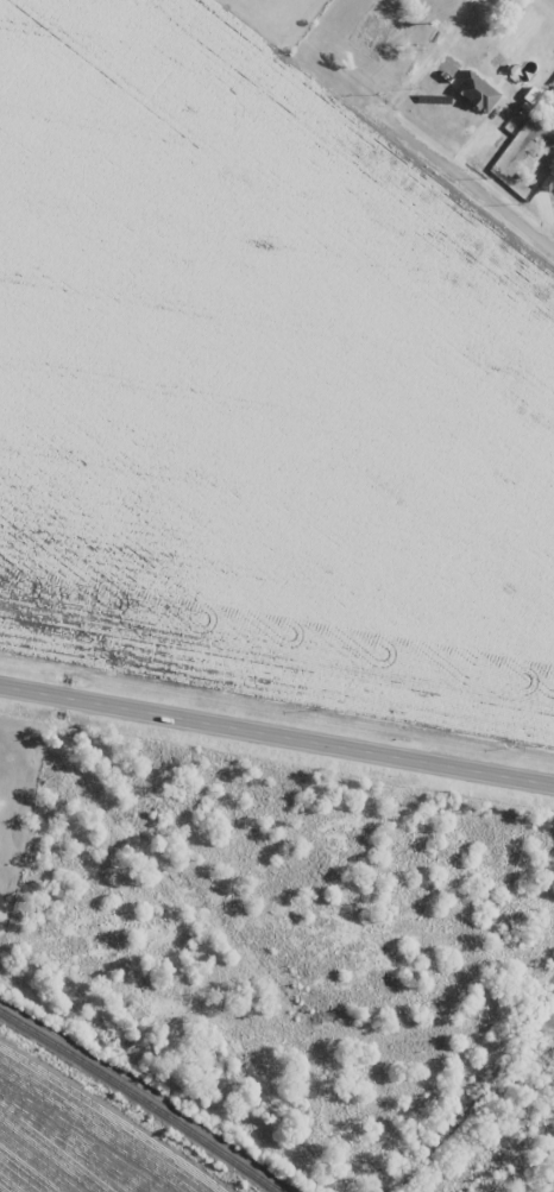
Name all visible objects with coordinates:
building: (391, 37)
building: (476, 92)
road: (414, 141)
building: (542, 178)
road: (277, 732)
railway: (140, 1097)
crop: (68, 1143)

